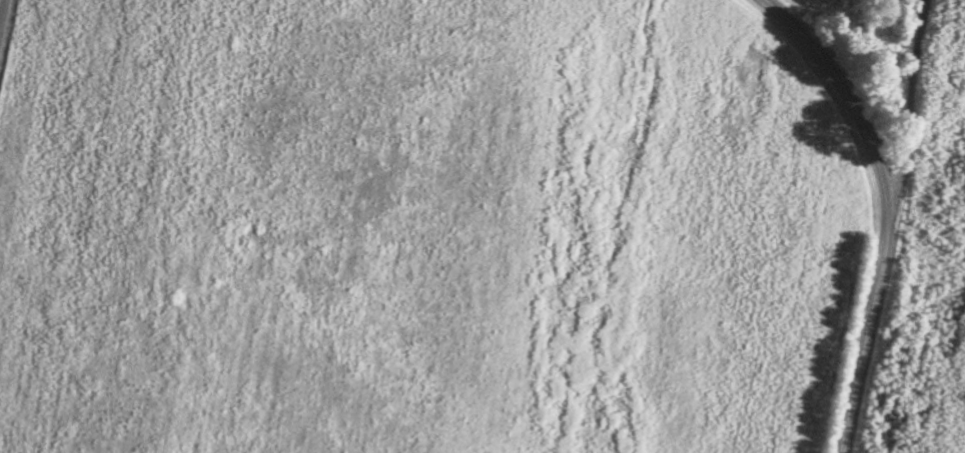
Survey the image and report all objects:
road: (890, 209)

